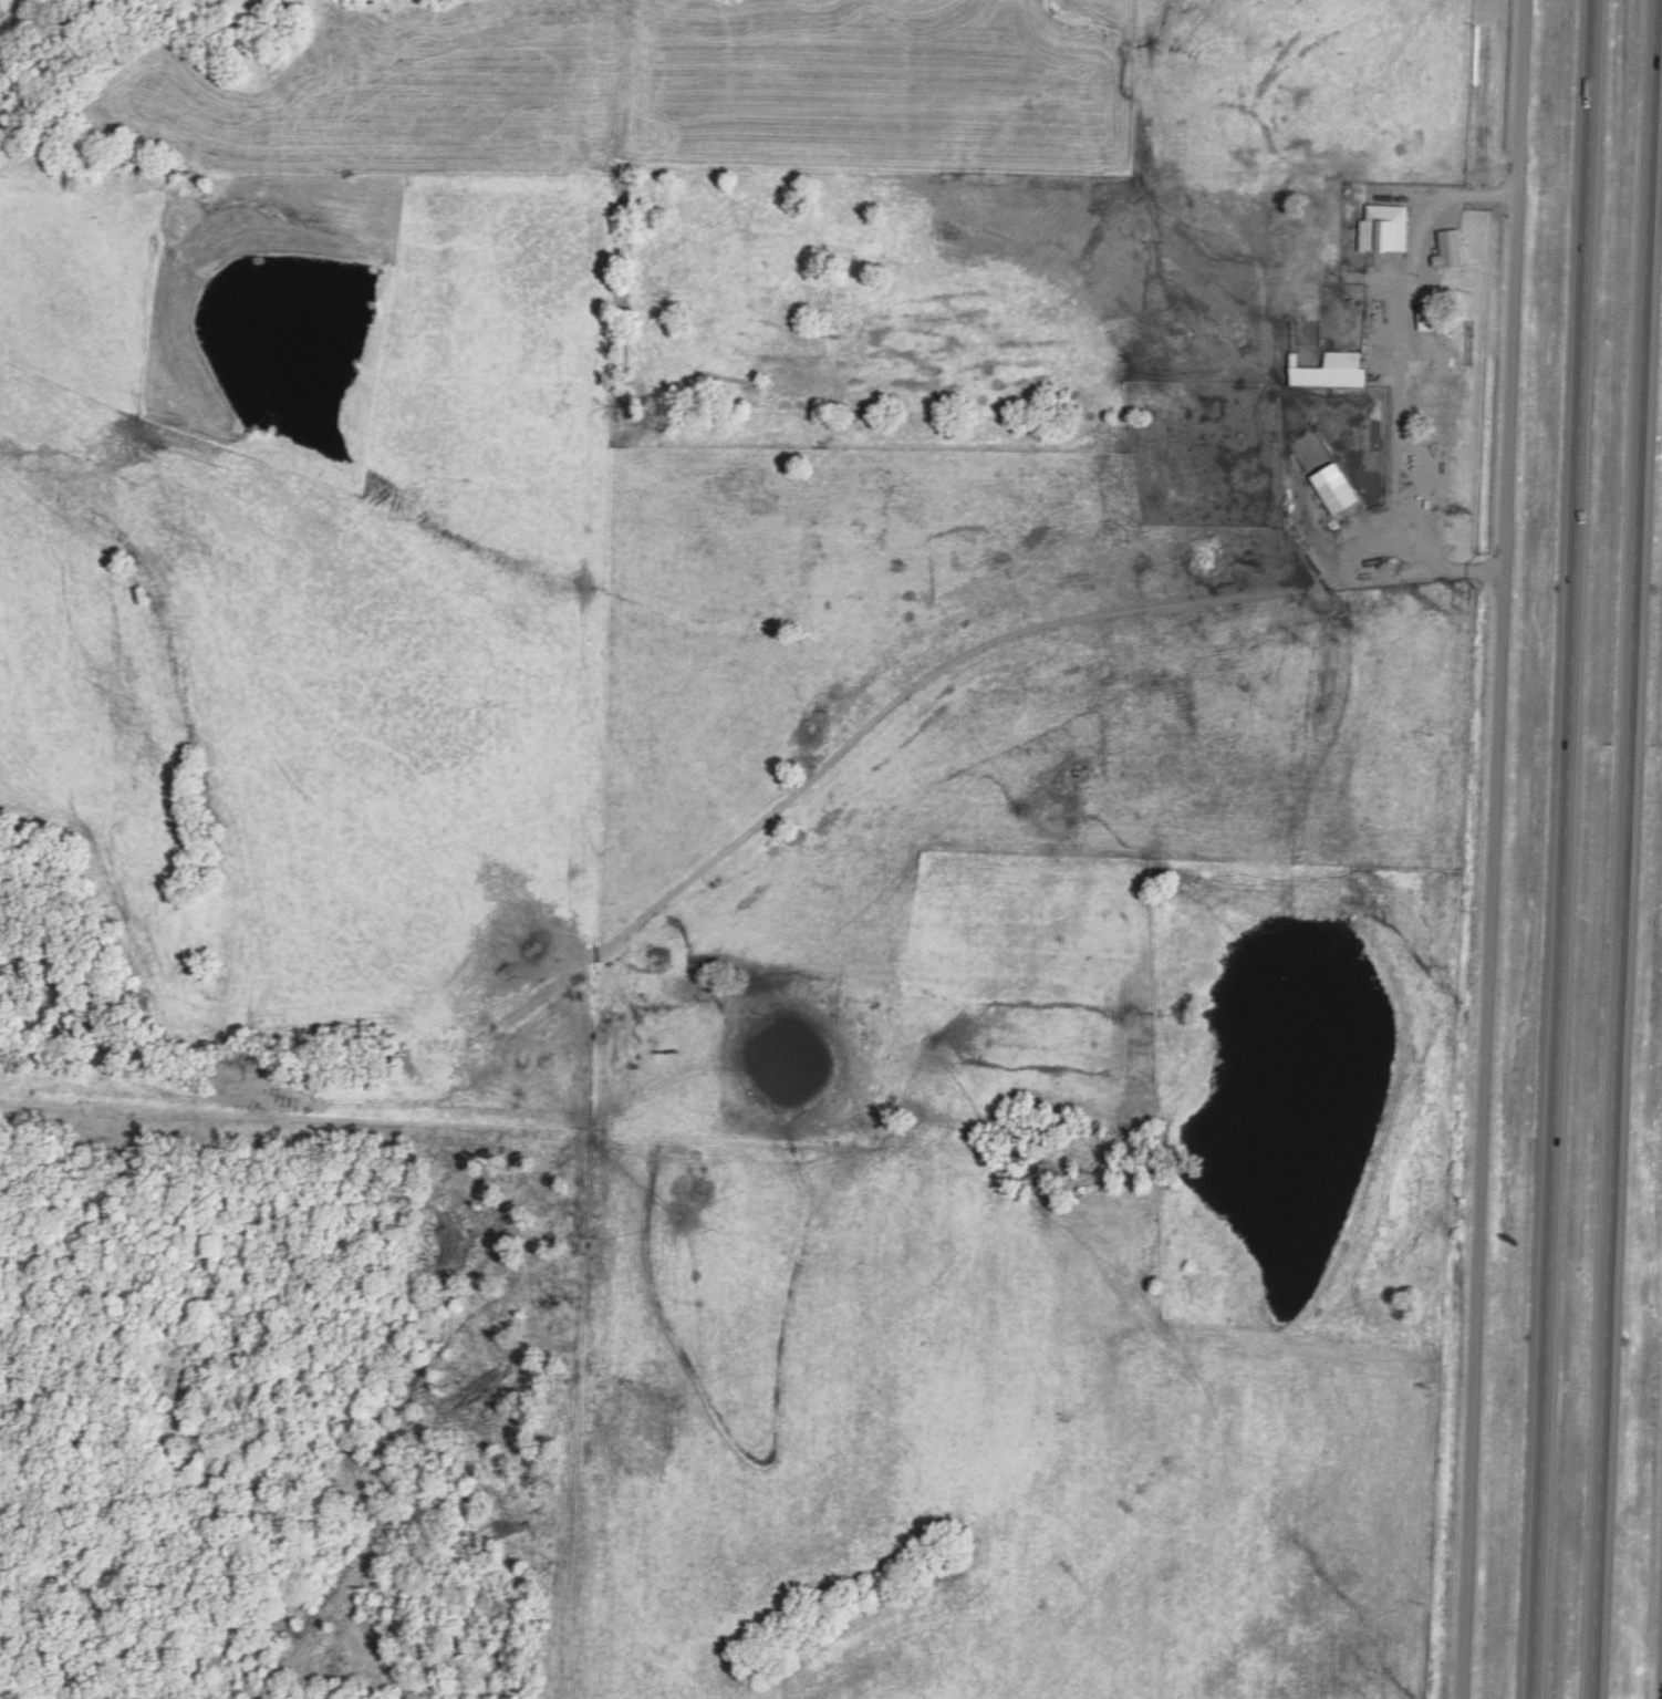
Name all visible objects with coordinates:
road: (1505, 197)
building: (1385, 229)
road: (1440, 232)
building: (1444, 248)
building: (1331, 372)
road: (1392, 441)
building: (1322, 470)
road: (1495, 849)
road: (1565, 849)
road: (1627, 849)

